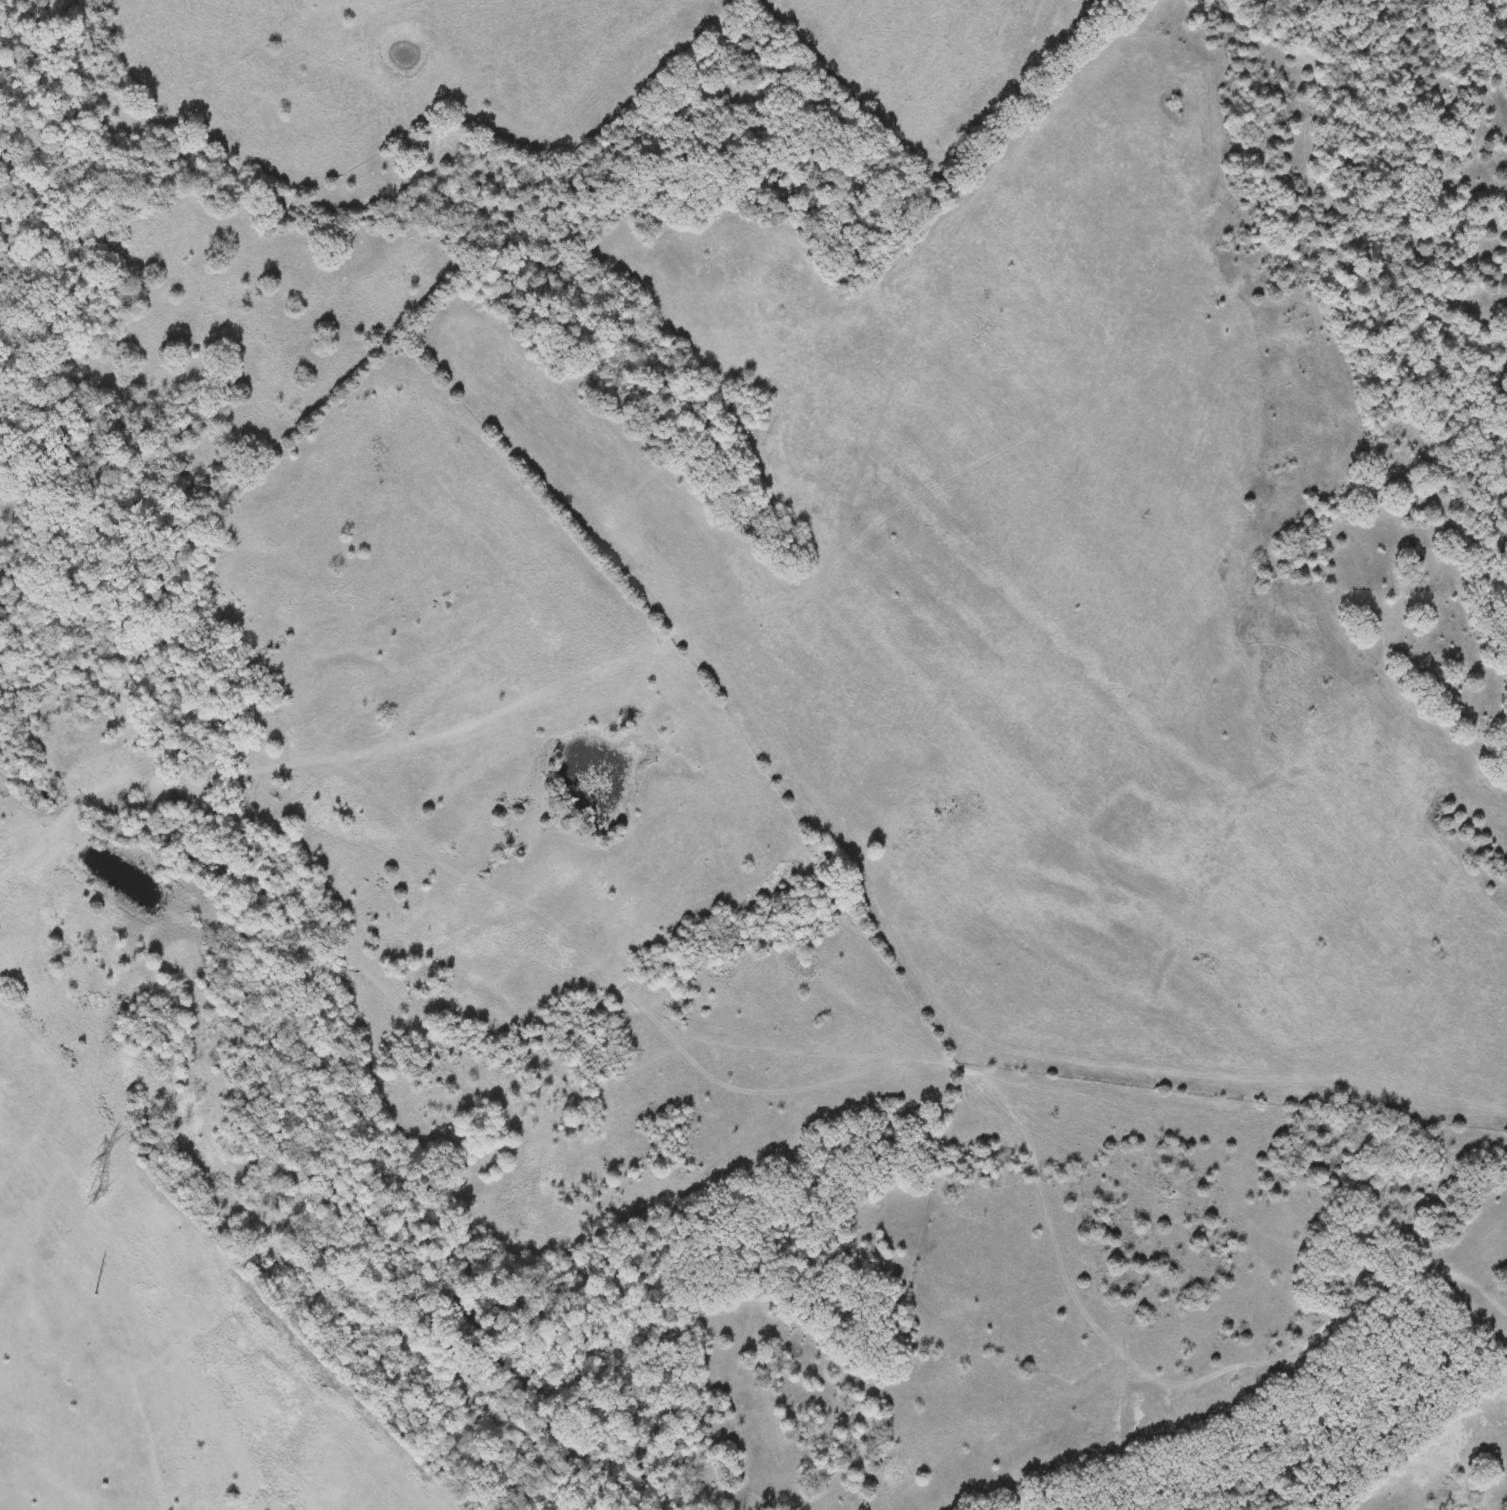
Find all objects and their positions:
power tower: (105, 1193)

